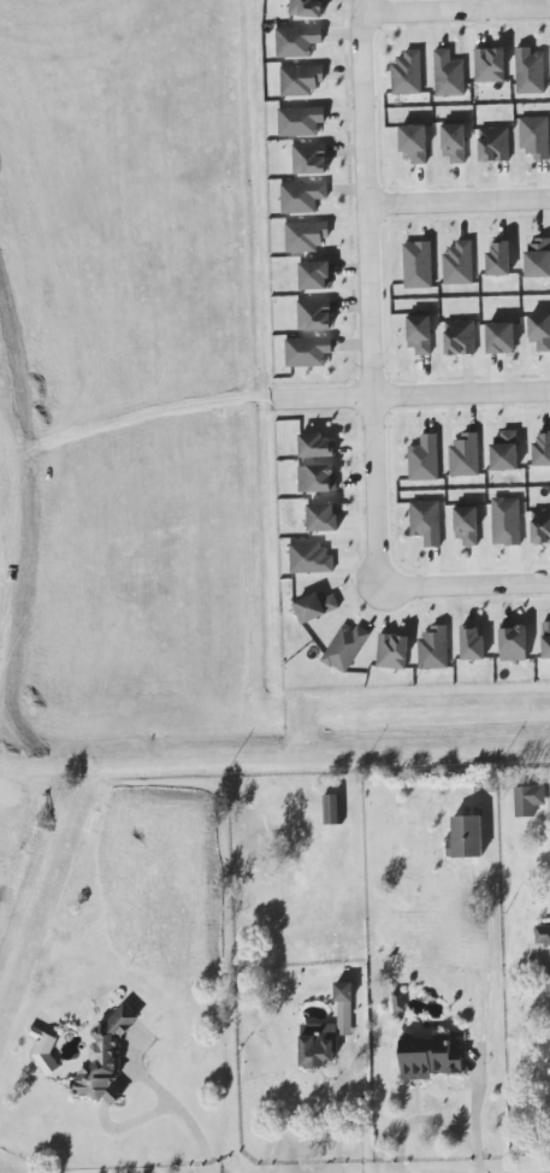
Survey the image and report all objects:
building: (308, 10)
road: (457, 10)
building: (297, 39)
building: (490, 65)
building: (530, 71)
building: (407, 72)
building: (449, 75)
building: (301, 77)
building: (301, 119)
building: (536, 136)
building: (454, 138)
building: (414, 143)
building: (495, 145)
building: (309, 157)
building: (302, 196)
road: (459, 201)
building: (304, 235)
building: (498, 255)
building: (537, 255)
building: (457, 263)
building: (414, 265)
building: (315, 272)
road: (369, 287)
building: (314, 313)
building: (539, 330)
building: (420, 331)
building: (460, 337)
building: (501, 338)
building: (308, 352)
road: (416, 394)
building: (317, 443)
building: (542, 447)
building: (504, 449)
building: (465, 455)
building: (424, 458)
building: (318, 476)
building: (323, 518)
building: (426, 520)
building: (505, 520)
building: (466, 524)
building: (538, 526)
building: (311, 559)
road: (465, 585)
building: (314, 605)
building: (546, 639)
building: (513, 642)
building: (473, 643)
building: (345, 647)
building: (433, 648)
building: (391, 650)
building: (528, 800)
building: (332, 809)
building: (466, 837)
building: (543, 933)
building: (343, 991)
building: (398, 1001)
building: (344, 1019)
building: (315, 1043)
building: (43, 1049)
building: (428, 1057)
building: (106, 1059)
road: (307, 1108)
road: (182, 1116)
road: (433, 1120)

